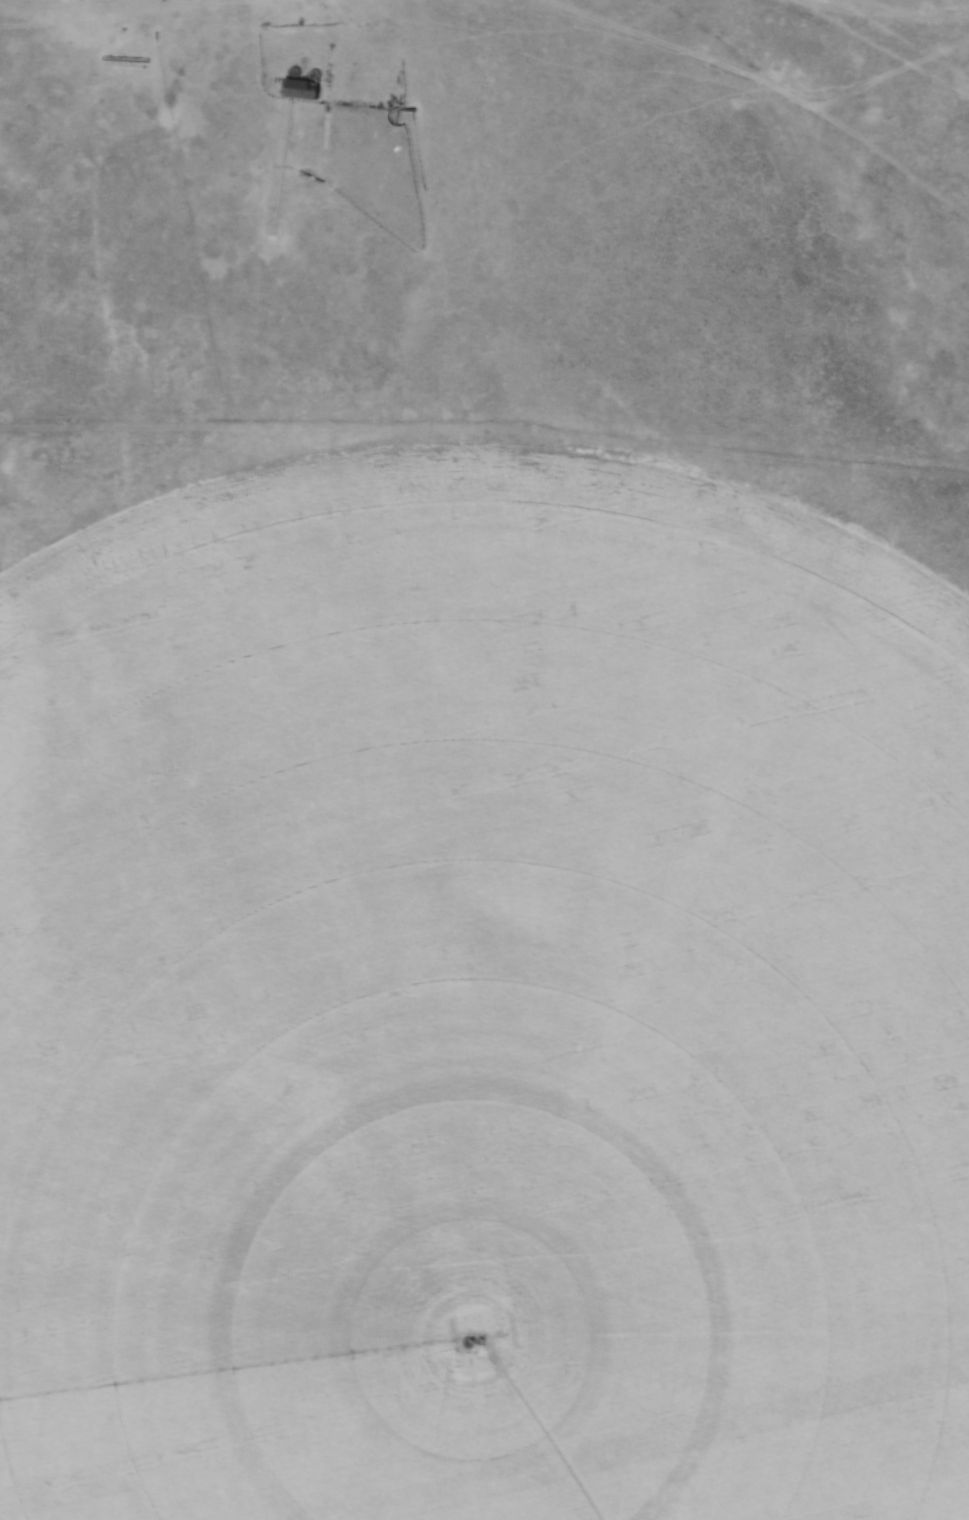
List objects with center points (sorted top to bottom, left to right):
road: (388, 61)
building: (303, 87)
crop: (483, 1006)

